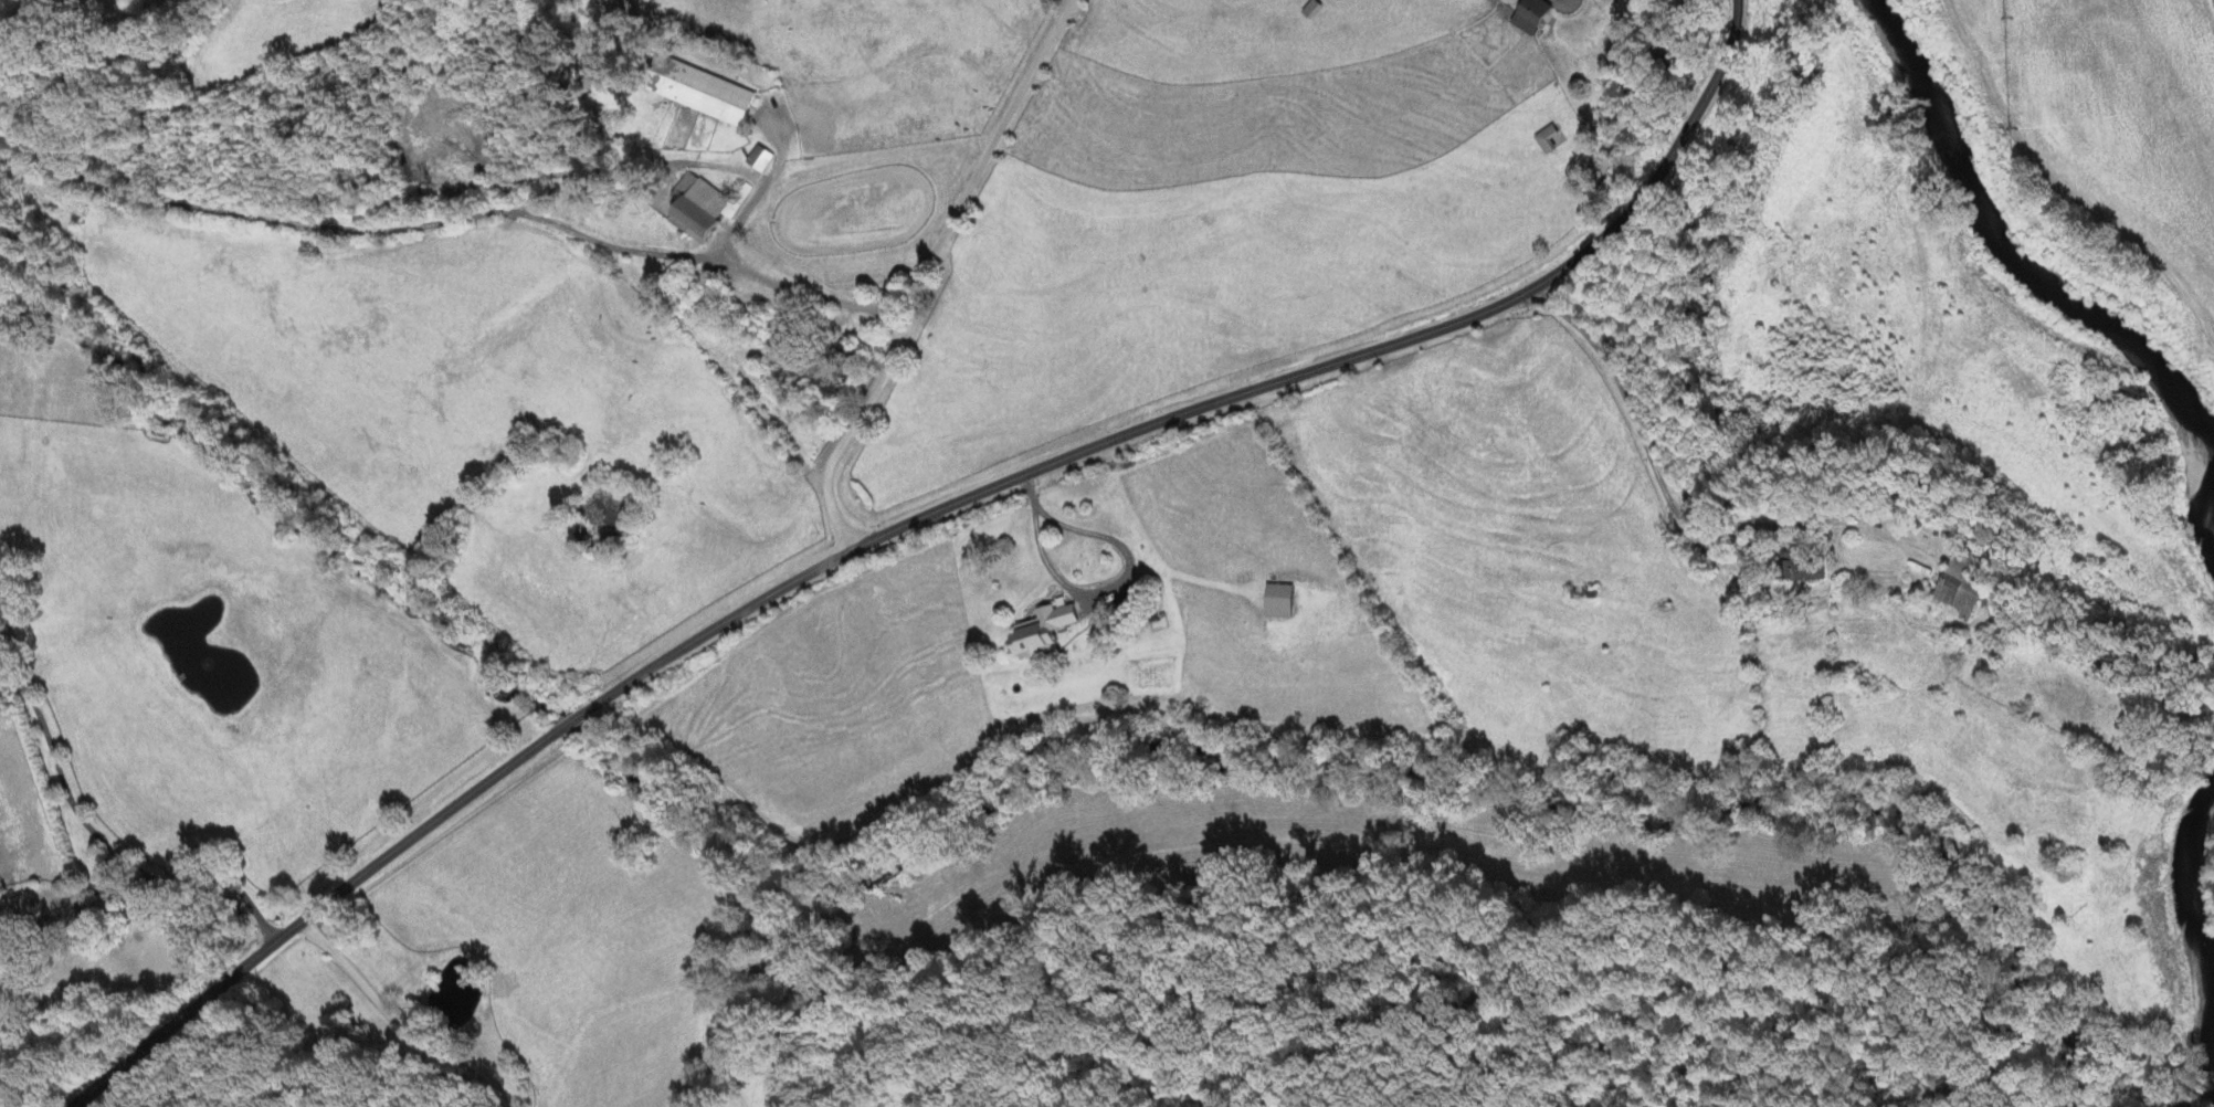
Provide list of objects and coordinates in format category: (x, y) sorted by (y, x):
road: (29, 17)
road: (761, 190)
road: (453, 218)
road: (936, 268)
river: (2048, 282)
road: (1657, 465)
road: (914, 521)
road: (1097, 591)
road: (106, 843)
road: (67, 892)
river: (2197, 903)
road: (397, 1023)

